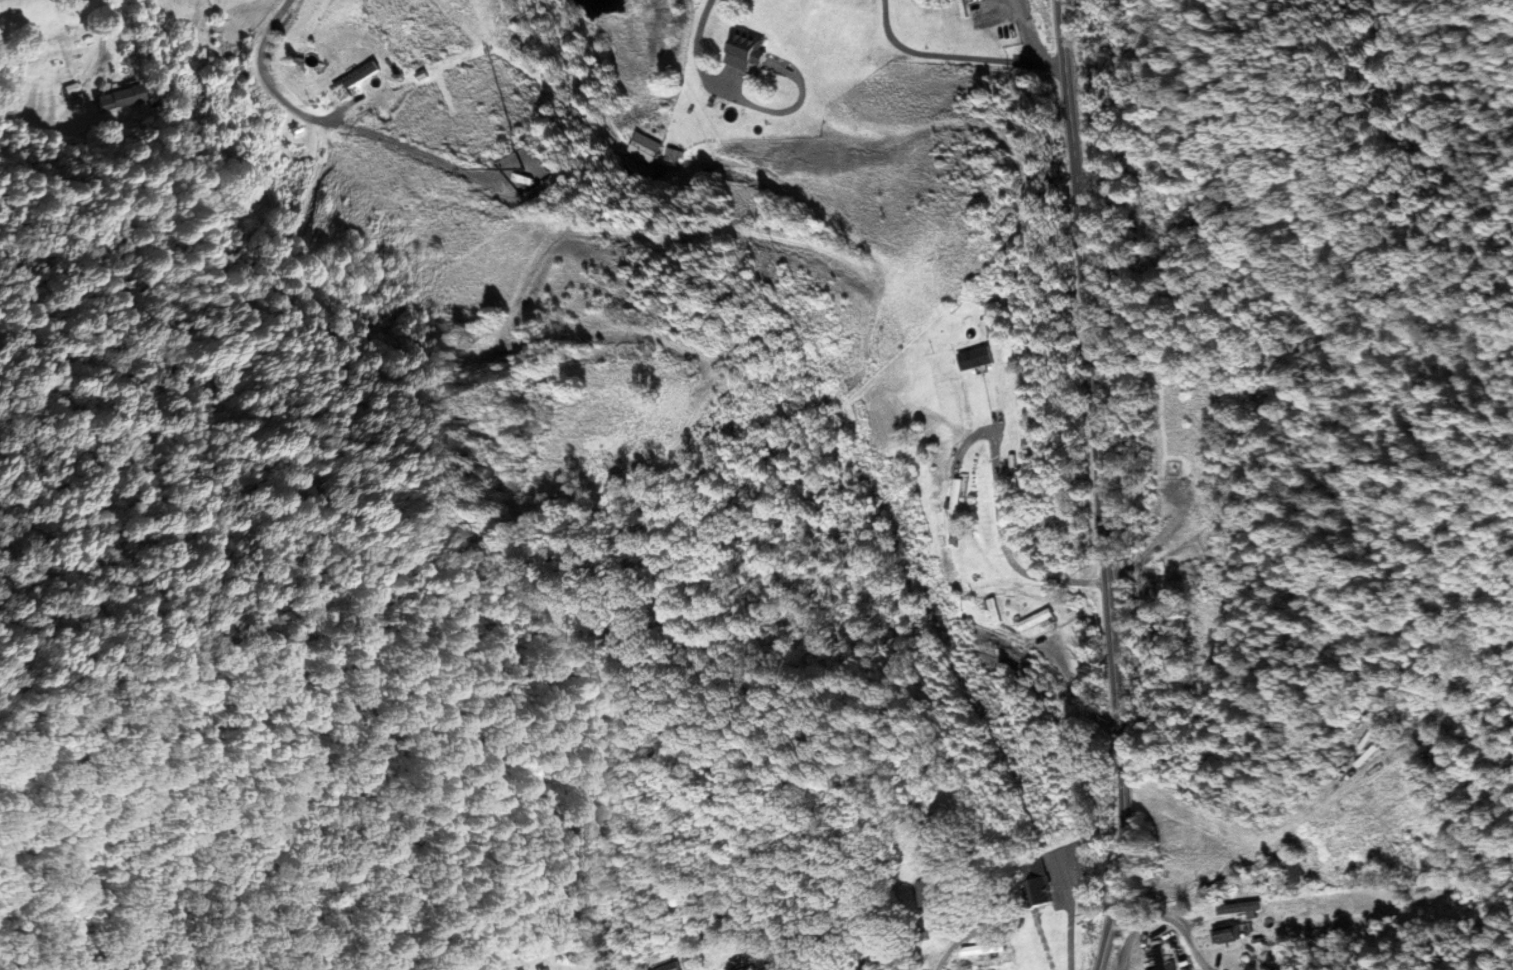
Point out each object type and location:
road: (106, 24)
road: (704, 31)
road: (957, 57)
road: (332, 124)
road: (975, 432)
road: (1102, 485)
road: (1007, 547)
road: (1286, 854)
road: (1170, 916)
building: (670, 967)
building: (527, 969)

